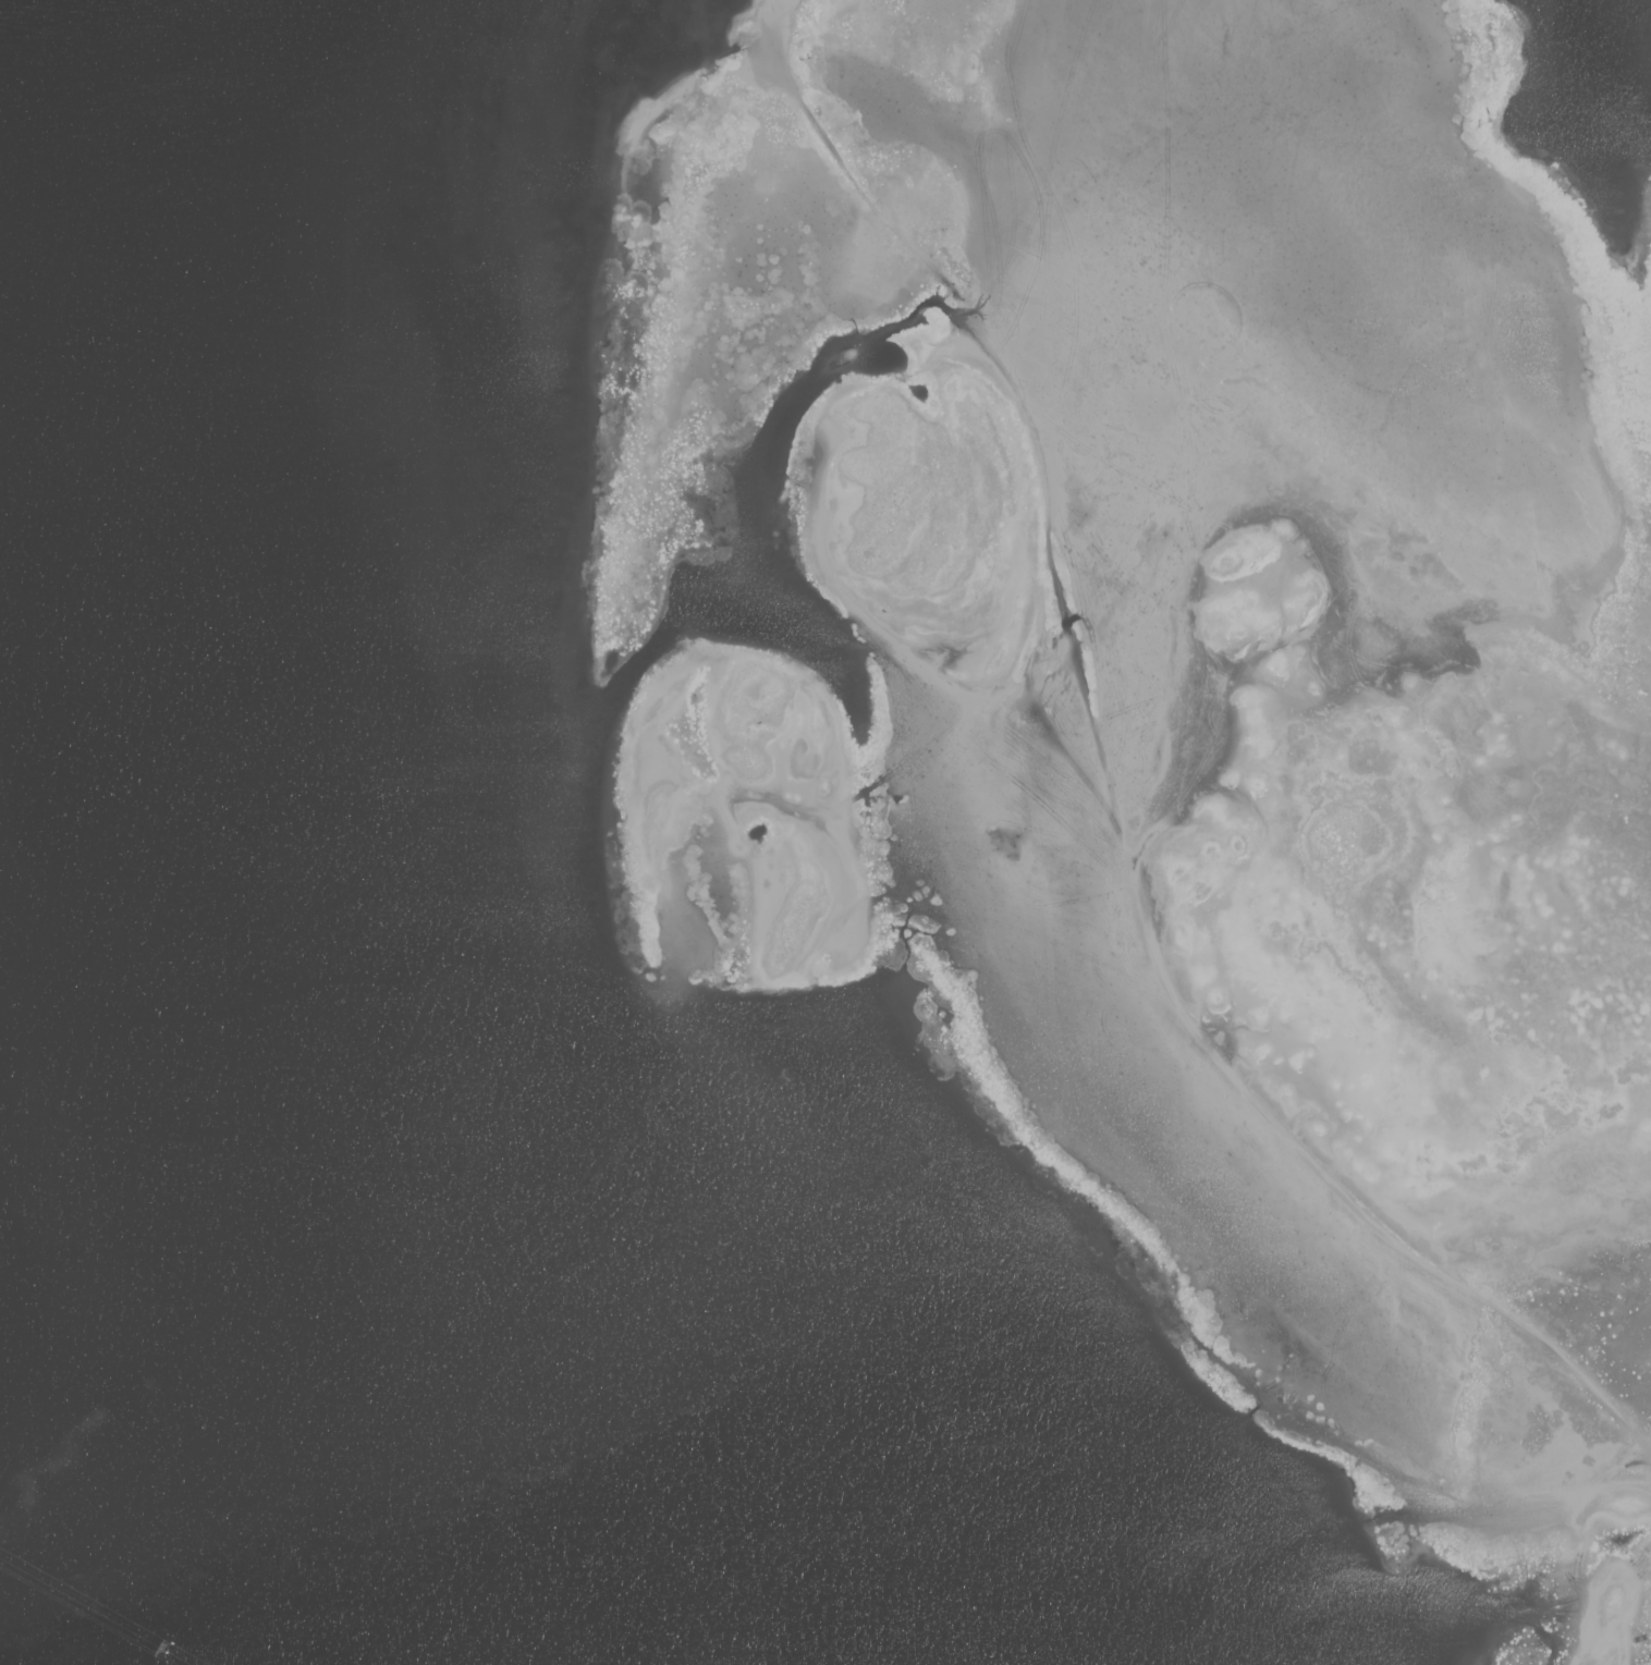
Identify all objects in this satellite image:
park: (1556, 1582)
power tower: (167, 1649)

